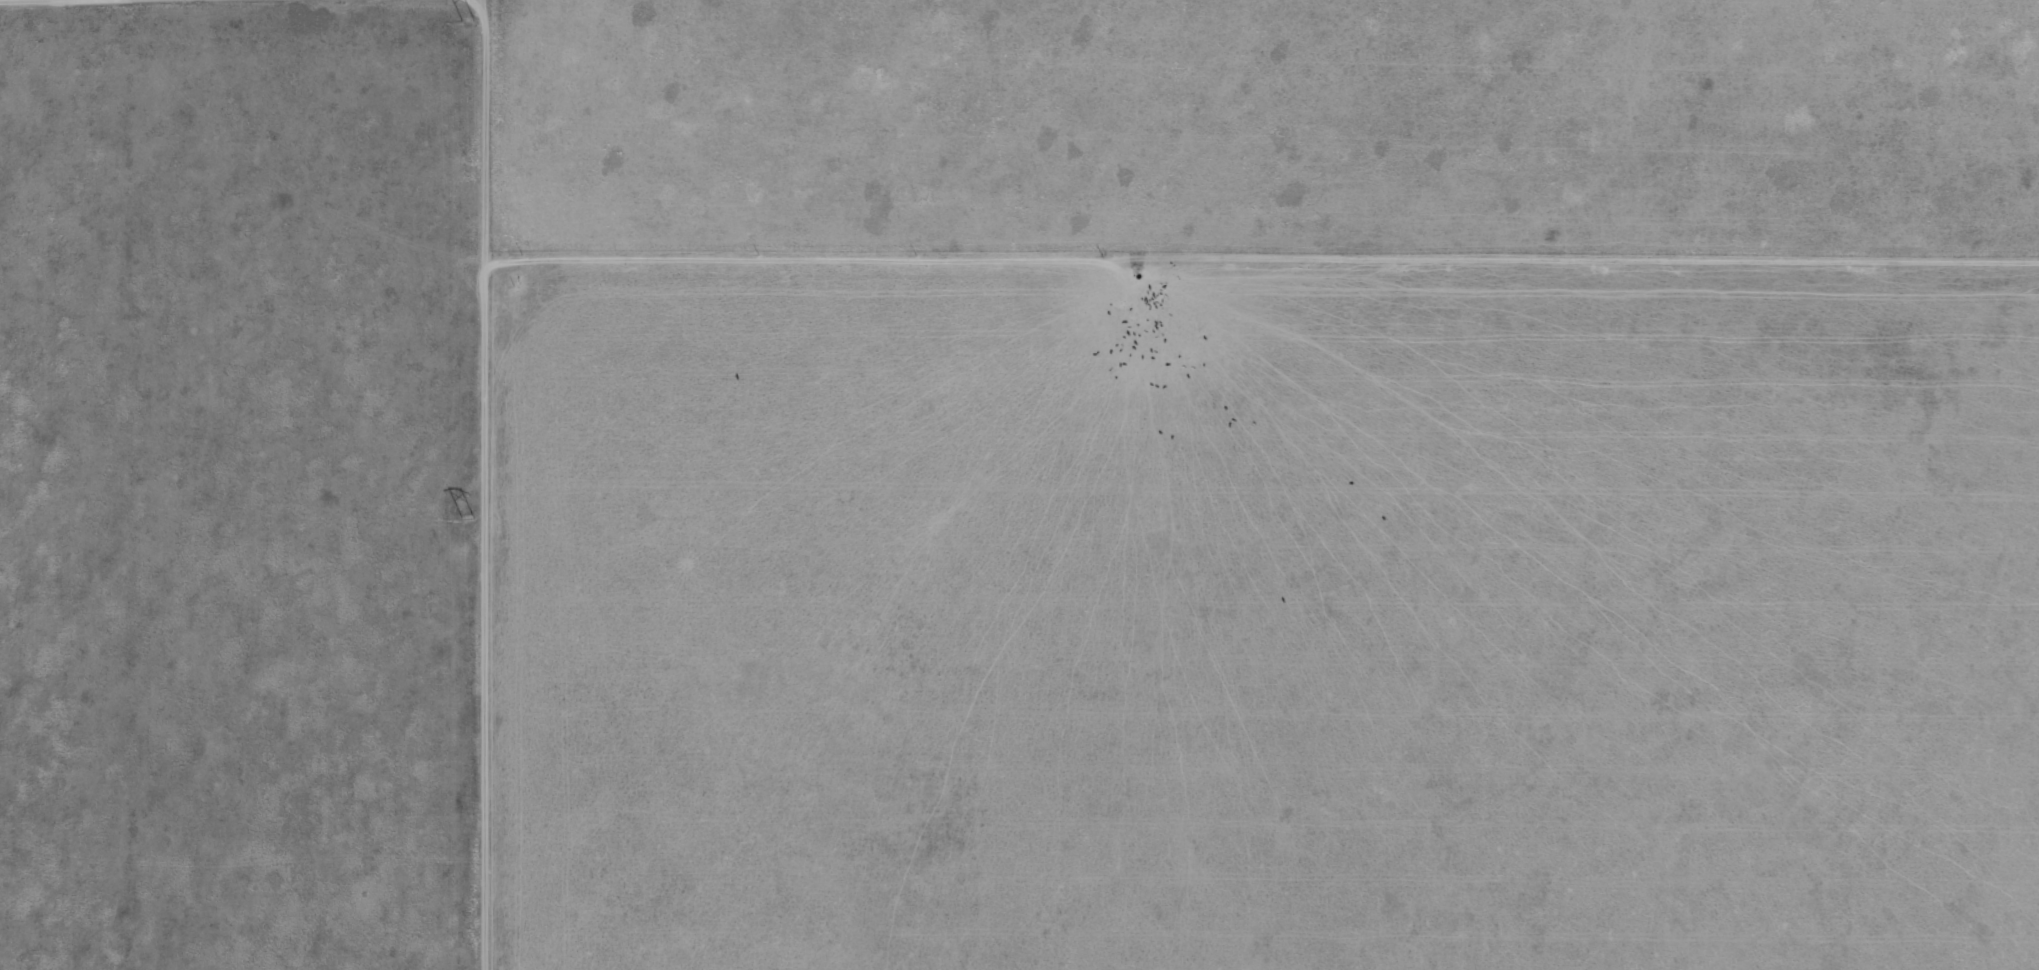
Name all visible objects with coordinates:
power tower: (468, 20)
road: (488, 484)
power tower: (468, 518)

